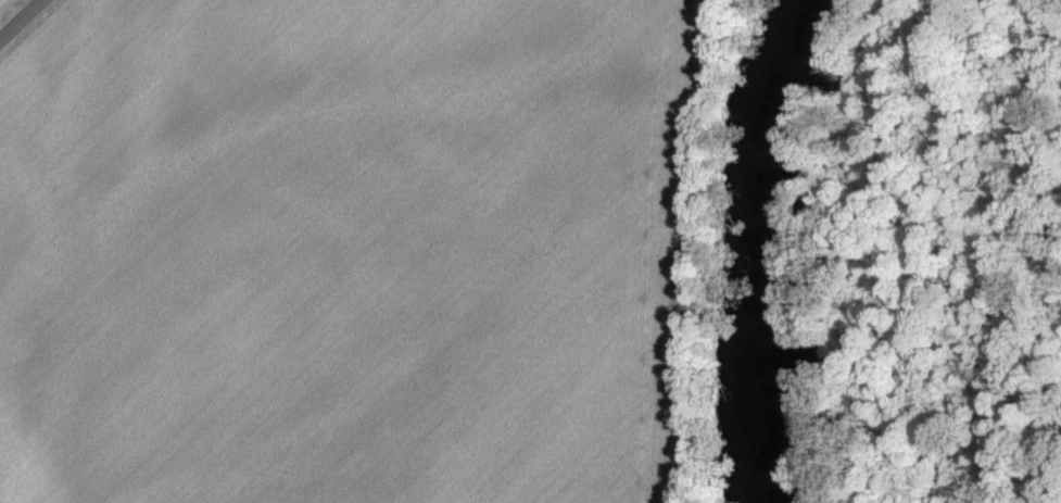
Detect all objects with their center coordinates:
road: (18, 17)
river: (768, 247)

